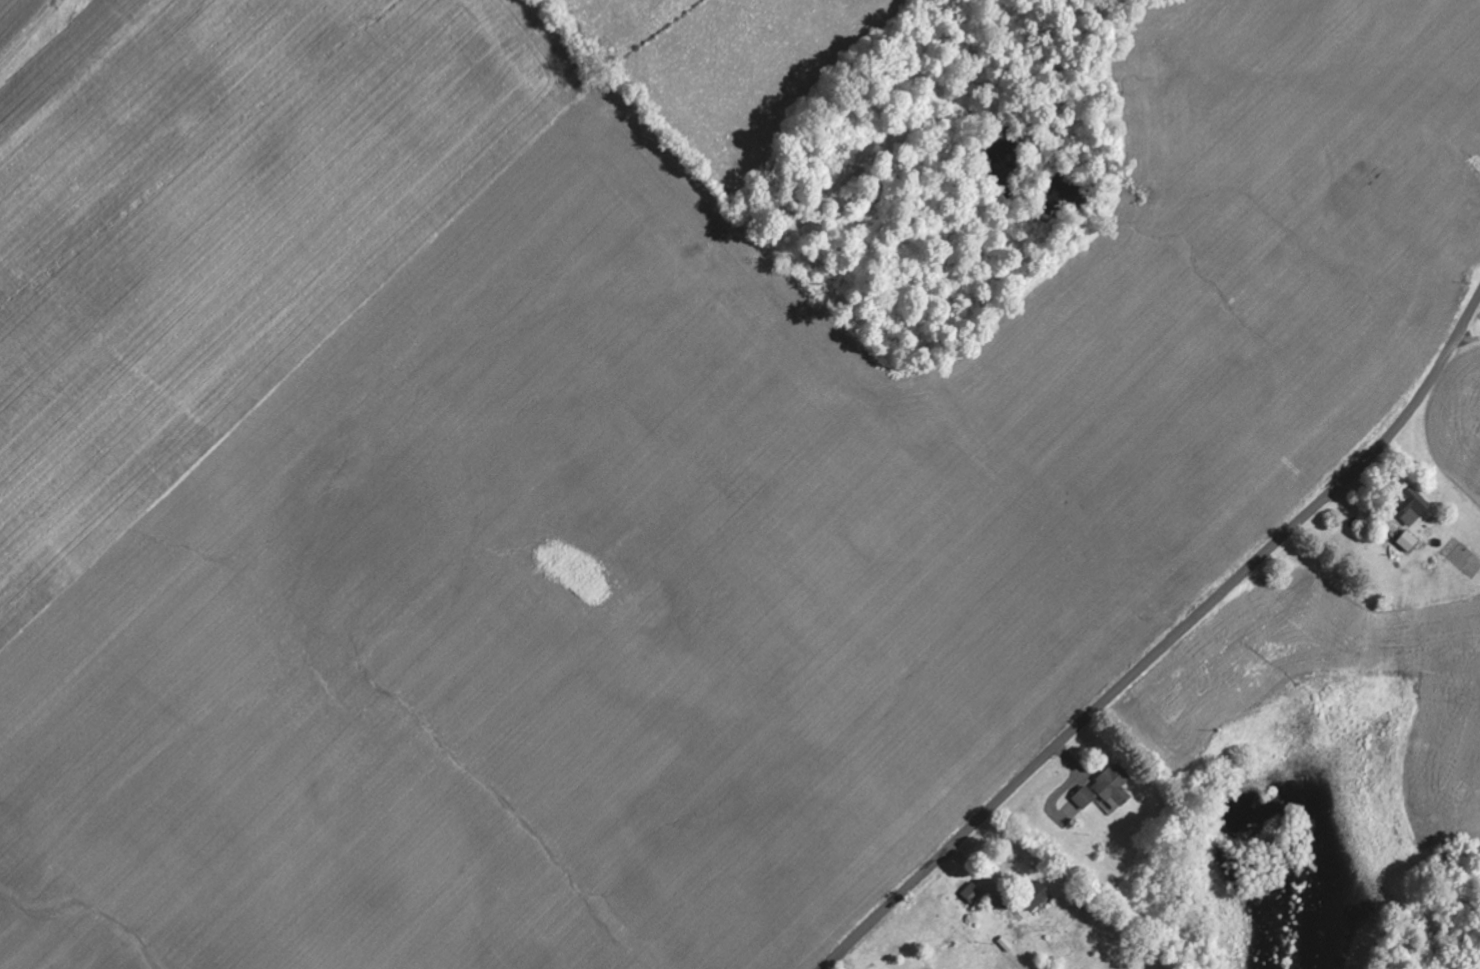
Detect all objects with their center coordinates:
building: (1418, 513)
building: (1411, 543)
road: (1168, 646)
building: (1108, 790)
building: (970, 894)
building: (1041, 900)

